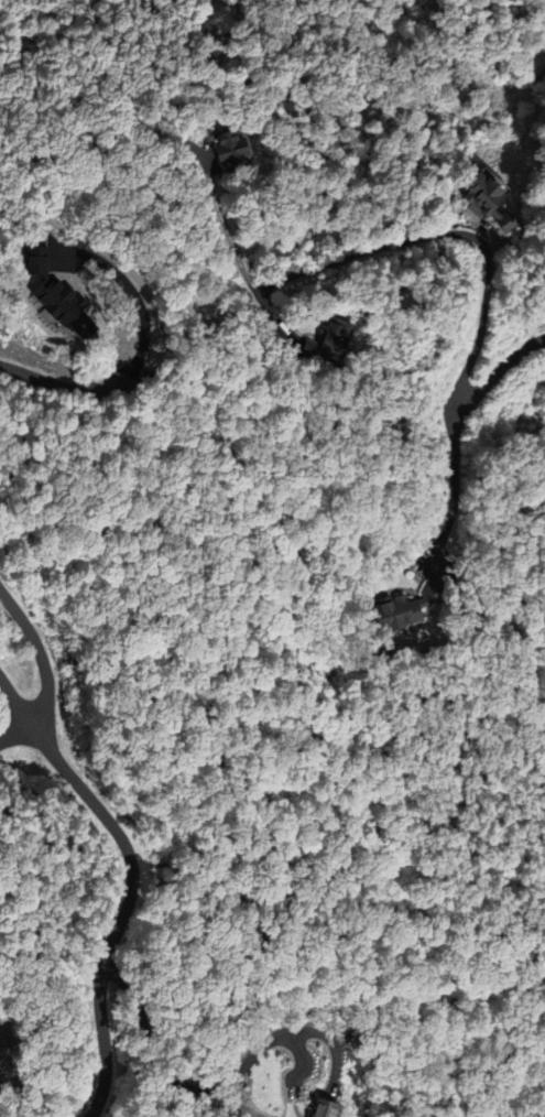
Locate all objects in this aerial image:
building: (226, 150)
building: (479, 191)
road: (217, 209)
building: (500, 224)
road: (424, 237)
building: (325, 344)
road: (499, 371)
road: (53, 383)
road: (453, 477)
building: (397, 610)
road: (42, 660)
road: (13, 701)
road: (128, 891)

